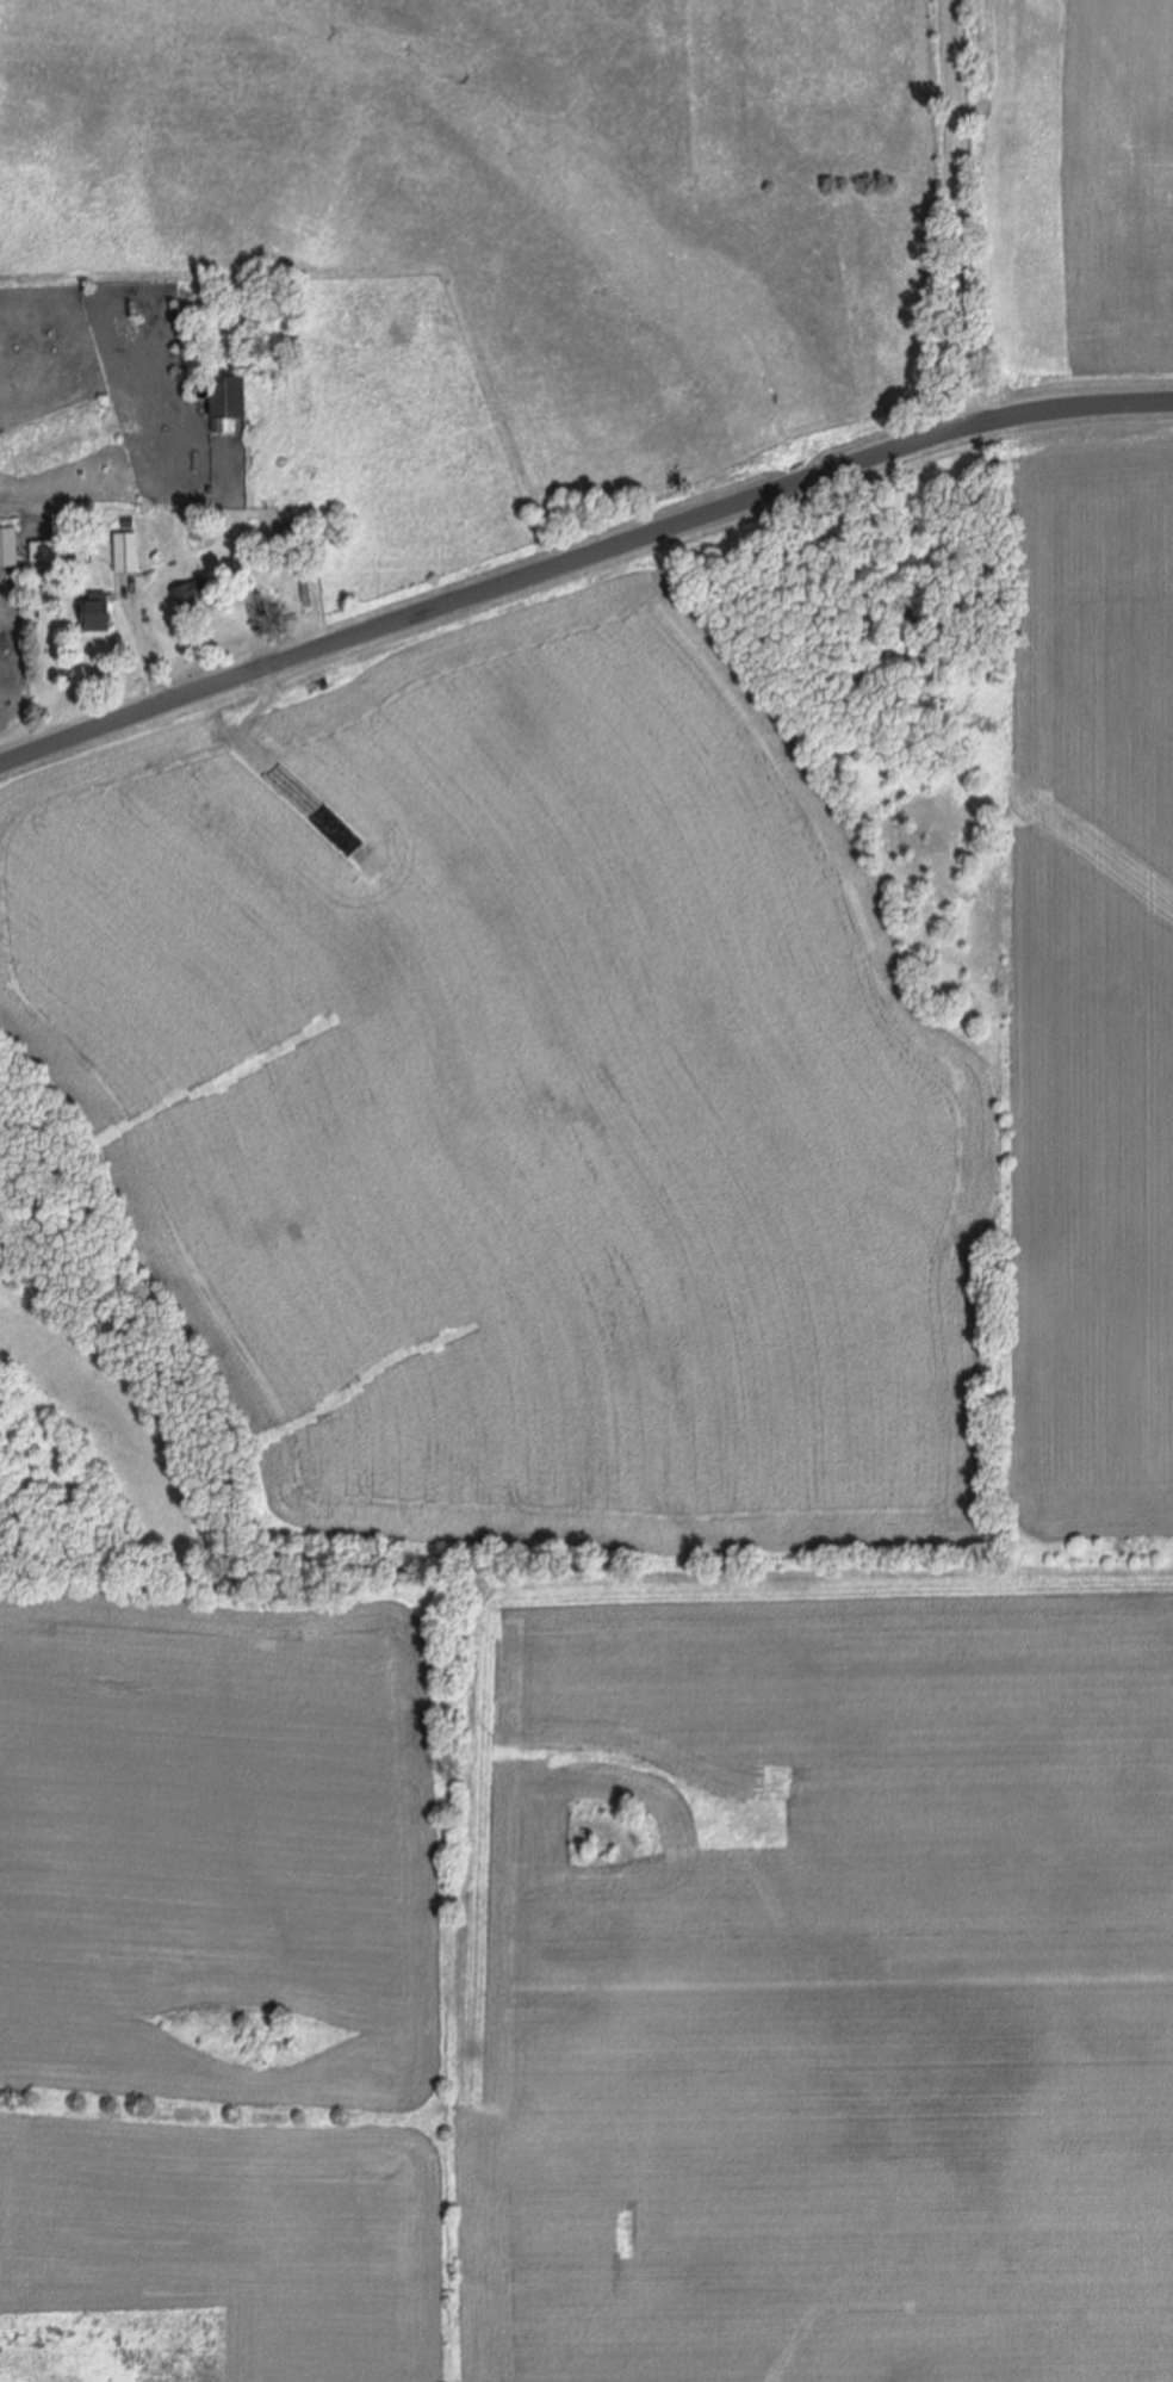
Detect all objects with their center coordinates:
building: (229, 401)
building: (10, 547)
building: (45, 552)
building: (128, 553)
road: (581, 563)
road: (249, 592)

